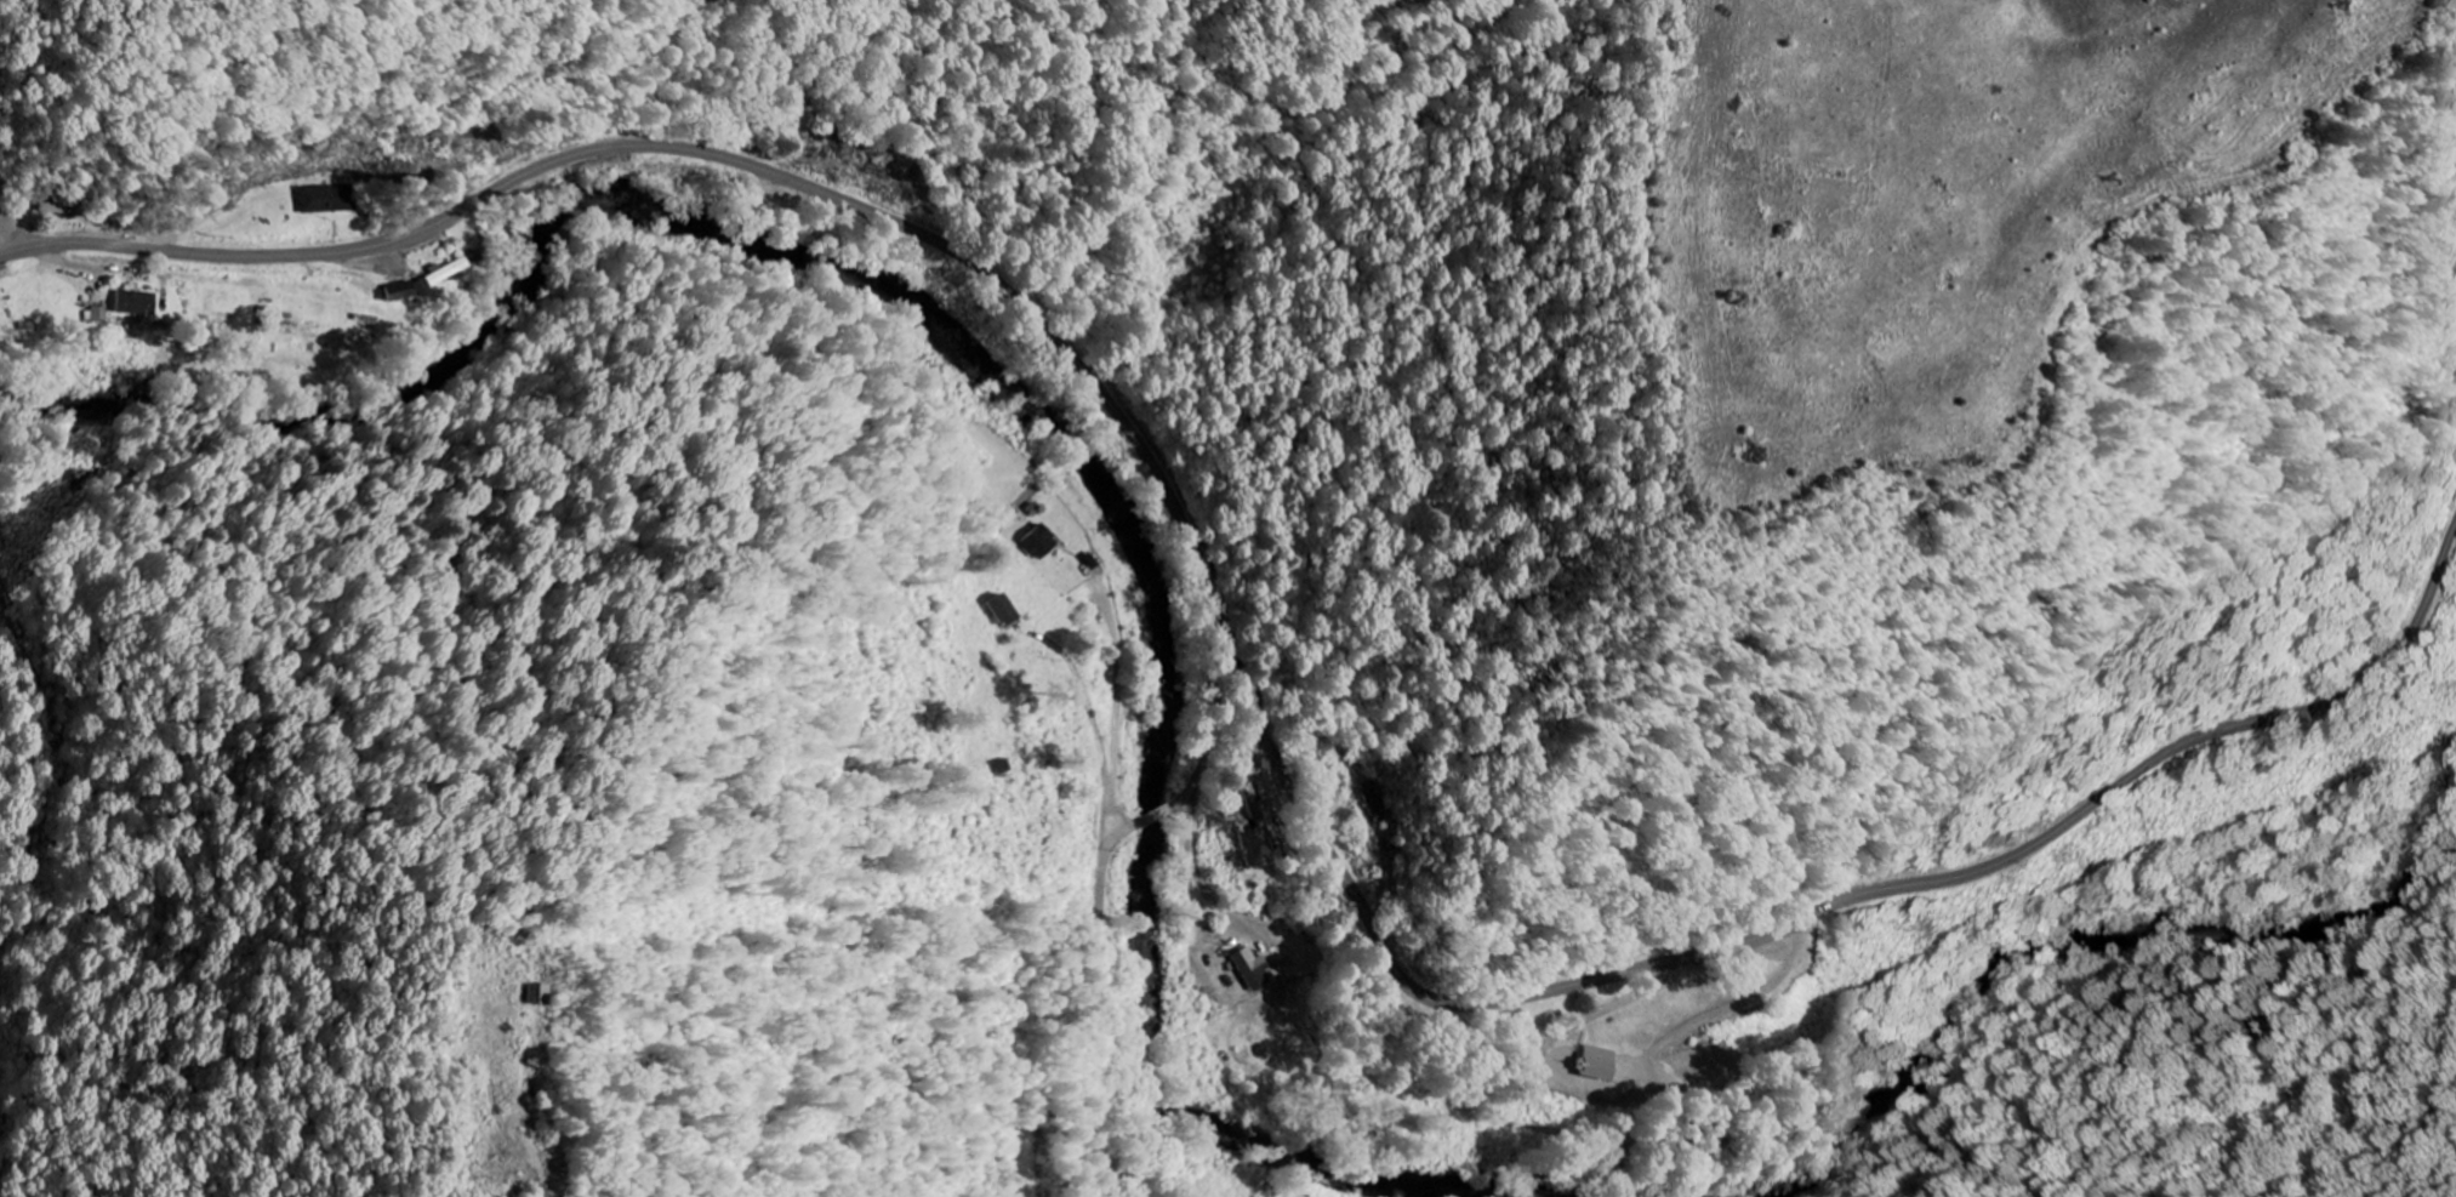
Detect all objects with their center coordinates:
building: (325, 200)
building: (441, 275)
building: (397, 291)
building: (132, 304)
building: (96, 317)
building: (1038, 542)
building: (998, 610)
road: (1252, 695)
road: (1216, 720)
building: (1249, 970)
road: (1102, 988)
building: (1594, 1065)

